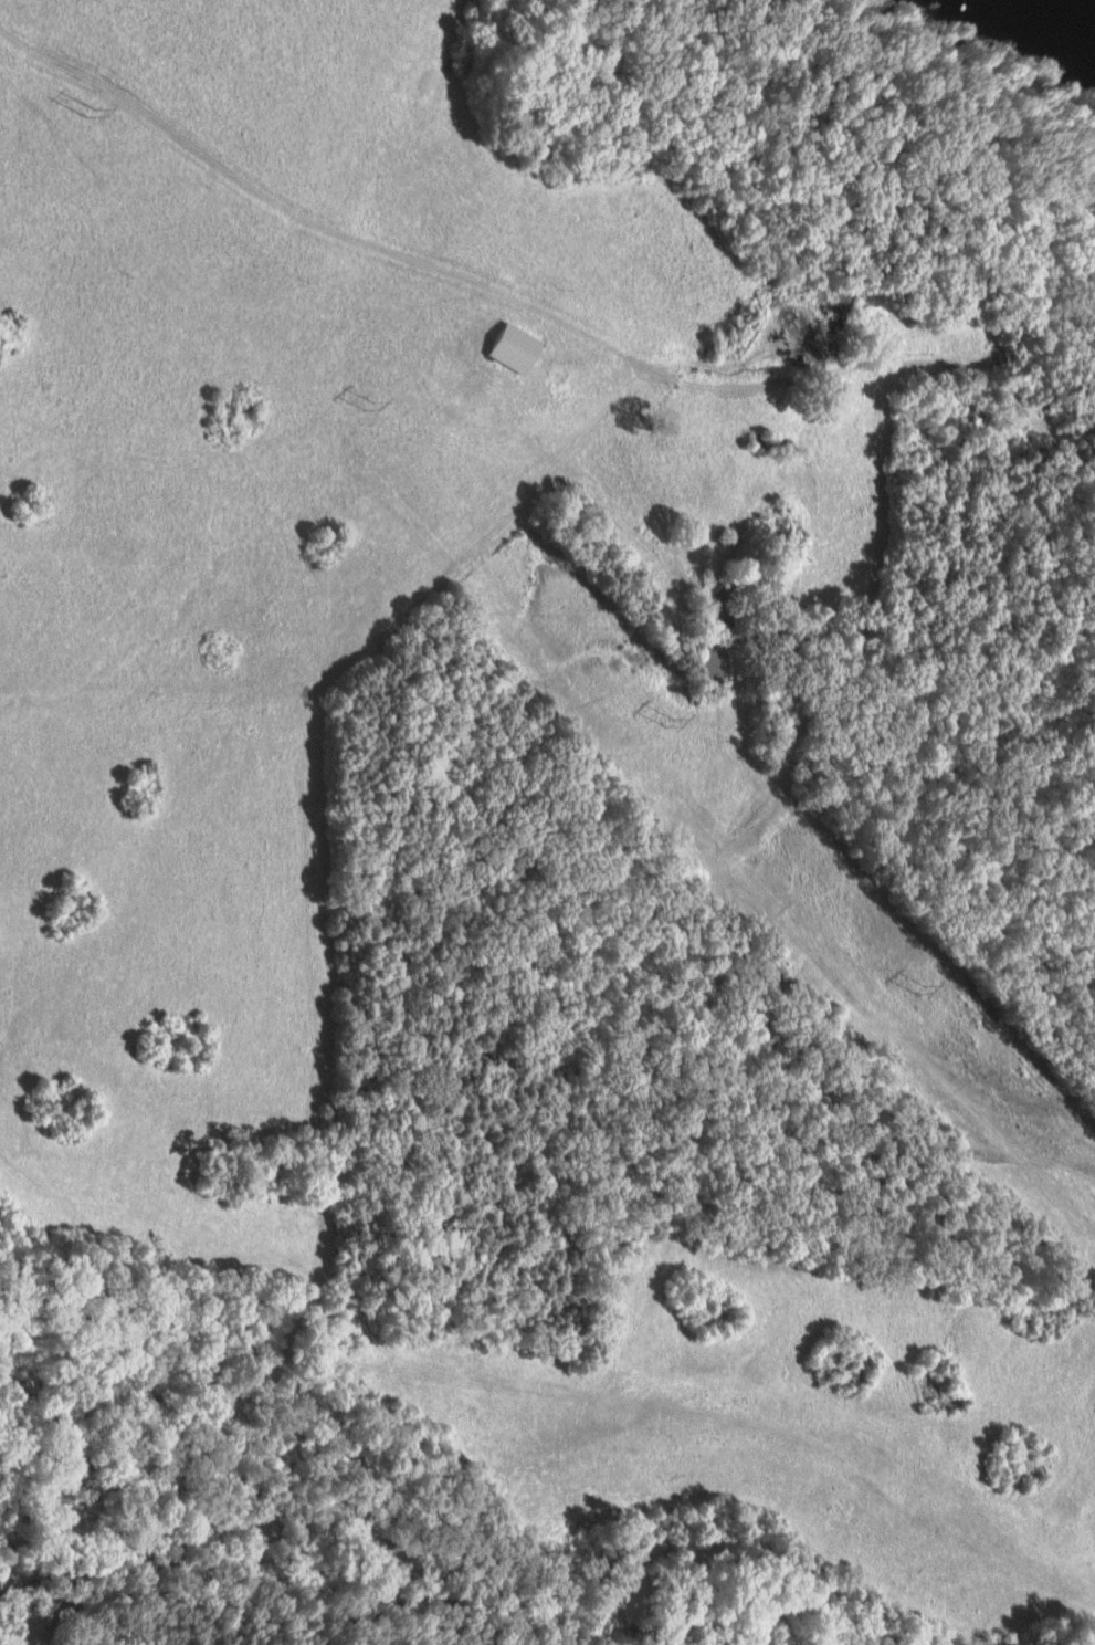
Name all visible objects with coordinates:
power tower: (87, 115)
road: (546, 314)
building: (506, 348)
power tower: (369, 410)
power tower: (665, 724)
road: (304, 922)
power tower: (914, 988)

